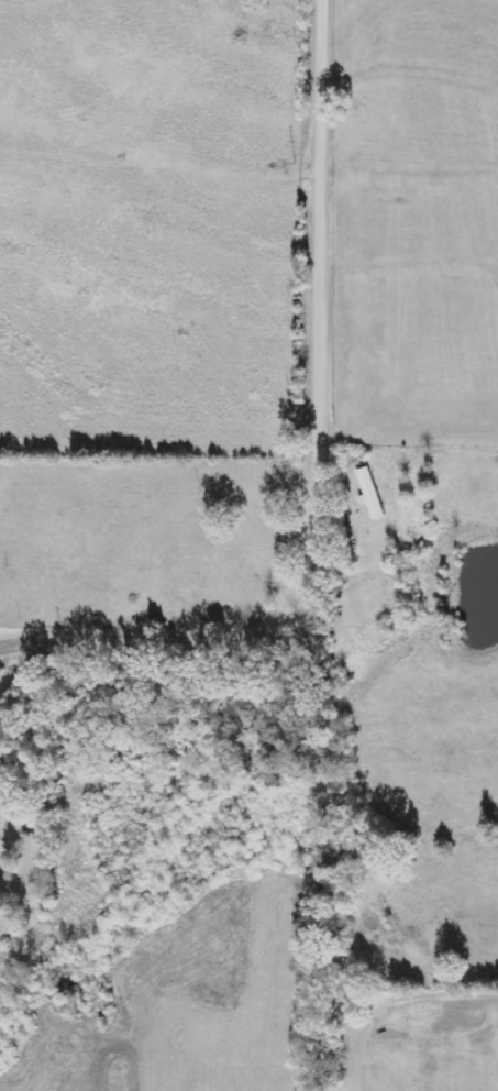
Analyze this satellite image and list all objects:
road: (324, 467)
building: (370, 493)
road: (12, 644)

